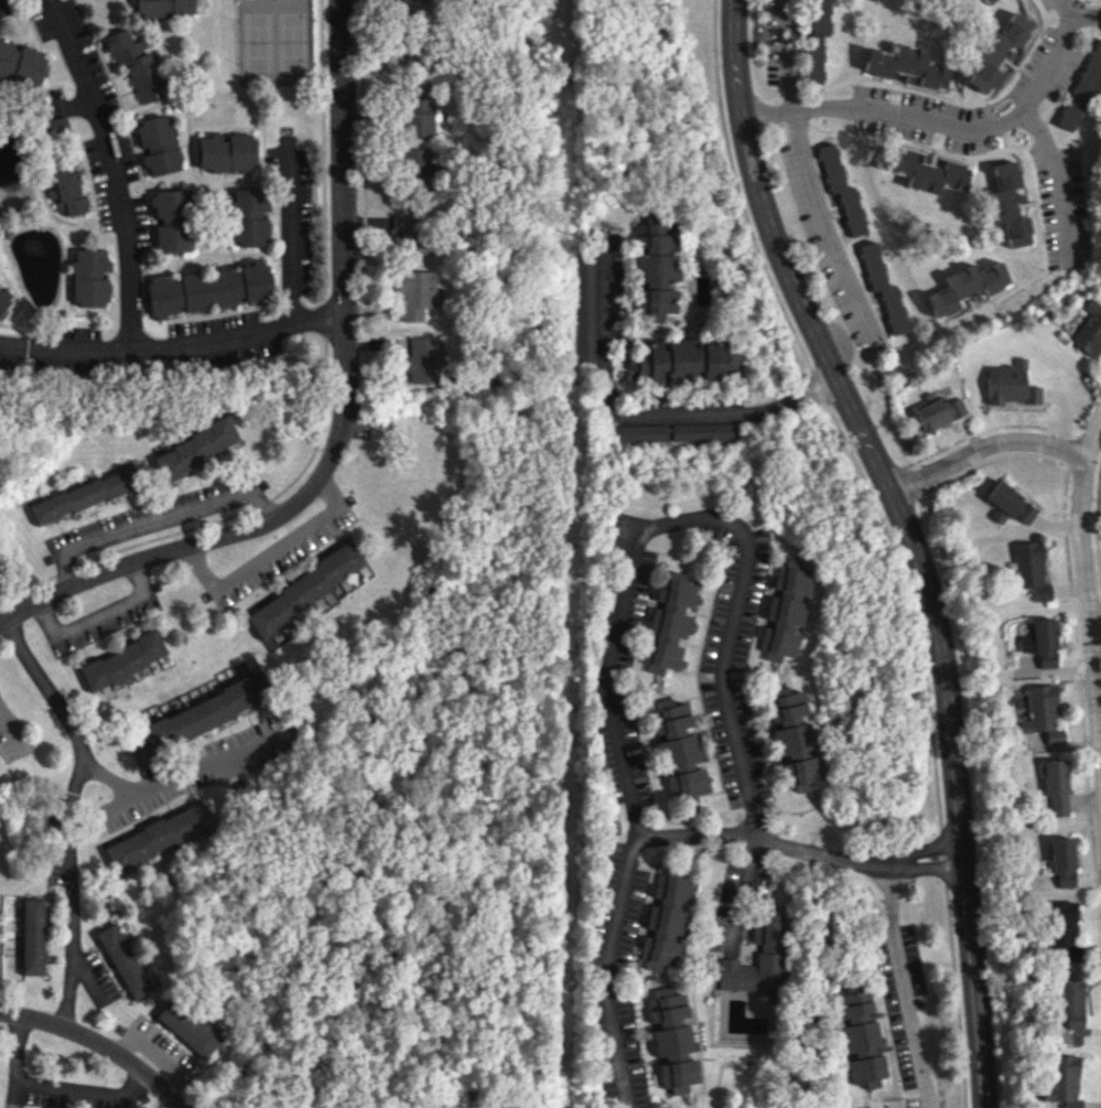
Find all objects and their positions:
building: (985, 1)
building: (164, 8)
road: (1084, 14)
building: (817, 40)
park: (273, 42)
building: (996, 50)
building: (20, 63)
building: (132, 63)
building: (907, 66)
building: (1083, 86)
building: (419, 109)
road: (884, 112)
building: (54, 127)
road: (1037, 127)
building: (156, 144)
building: (226, 152)
building: (415, 168)
building: (927, 171)
road: (115, 172)
road: (808, 176)
building: (842, 190)
building: (67, 191)
road: (736, 191)
building: (1010, 204)
building: (249, 216)
building: (172, 219)
road: (289, 229)
building: (656, 269)
building: (88, 277)
building: (967, 286)
building: (884, 288)
building: (208, 289)
building: (414, 293)
building: (3, 298)
building: (585, 298)
road: (973, 316)
building: (1089, 330)
road: (174, 352)
building: (421, 359)
building: (682, 359)
building: (1010, 384)
road: (818, 387)
building: (937, 409)
road: (637, 415)
road: (341, 419)
building: (702, 431)
building: (641, 432)
road: (1093, 437)
building: (195, 448)
building: (84, 494)
road: (1081, 498)
building: (1007, 504)
road: (164, 518)
road: (910, 539)
road: (779, 541)
road: (280, 553)
road: (687, 569)
building: (1029, 569)
building: (0, 574)
road: (769, 591)
road: (643, 601)
building: (672, 606)
road: (909, 610)
building: (784, 611)
road: (98, 614)
road: (706, 614)
road: (762, 621)
road: (636, 632)
road: (702, 641)
building: (1039, 642)
road: (700, 645)
building: (660, 655)
building: (121, 660)
road: (679, 671)
road: (756, 673)
road: (781, 677)
road: (657, 679)
road: (668, 692)
building: (1041, 711)
road: (726, 713)
road: (8, 725)
road: (765, 727)
road: (694, 728)
building: (792, 740)
road: (641, 742)
building: (678, 750)
road: (774, 761)
road: (703, 762)
road: (715, 765)
road: (649, 775)
road: (180, 784)
building: (1056, 786)
road: (629, 796)
road: (69, 811)
road: (792, 811)
road: (688, 819)
building: (158, 836)
road: (798, 848)
road: (661, 850)
road: (943, 857)
building: (1062, 862)
building: (672, 889)
road: (651, 899)
road: (764, 903)
road: (645, 930)
building: (1062, 930)
building: (32, 936)
building: (662, 936)
road: (756, 947)
building: (757, 959)
building: (122, 961)
road: (639, 980)
road: (665, 982)
road: (905, 985)
road: (956, 996)
building: (1071, 1003)
building: (187, 1026)
road: (647, 1026)
building: (860, 1037)
building: (672, 1040)
road: (98, 1044)
road: (22, 1062)
road: (654, 1062)
building: (1065, 1079)
road: (87, 1095)
road: (687, 1100)

